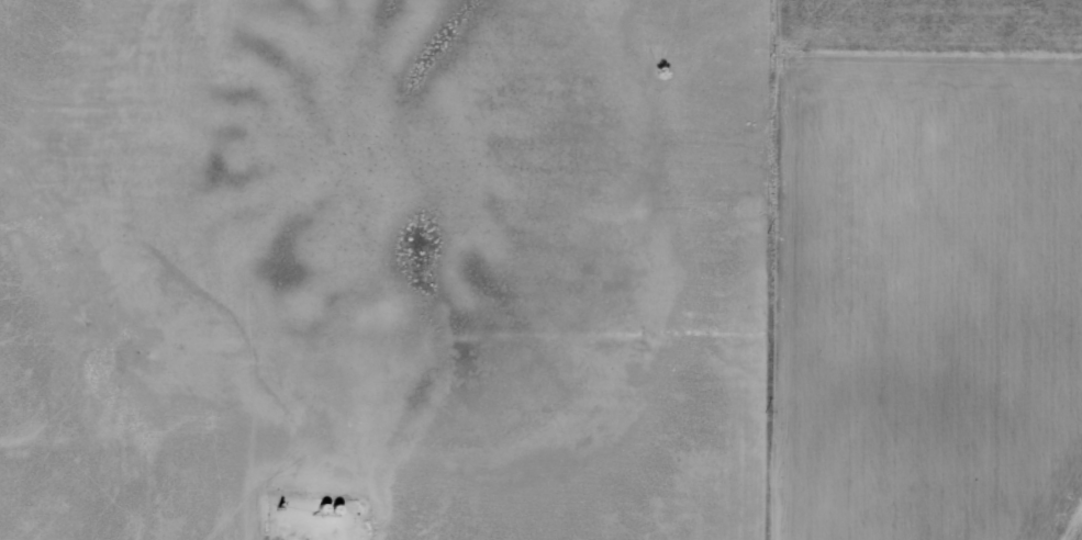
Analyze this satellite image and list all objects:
road: (938, 34)
road: (790, 270)

